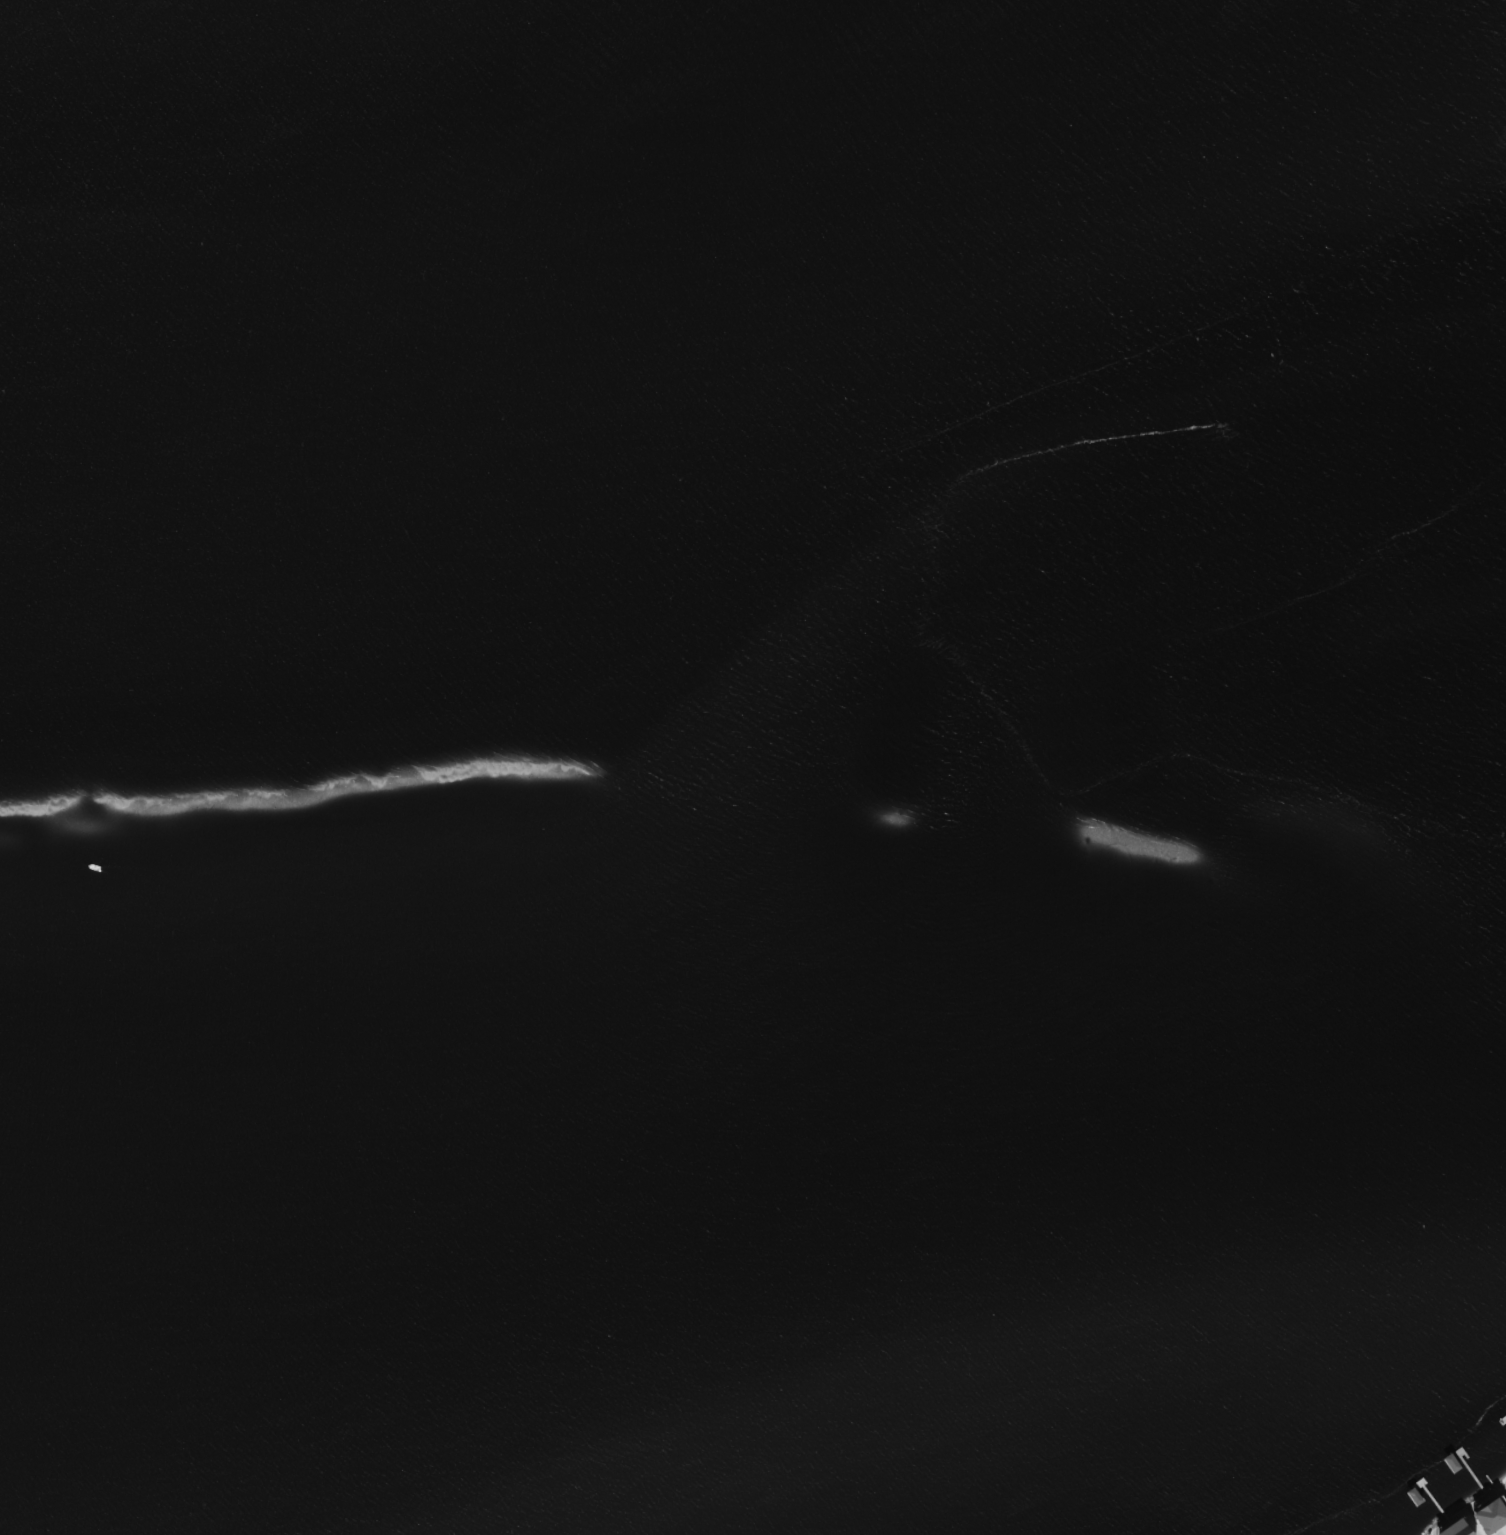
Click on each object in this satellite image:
building: (1491, 1515)
building: (1456, 1529)

